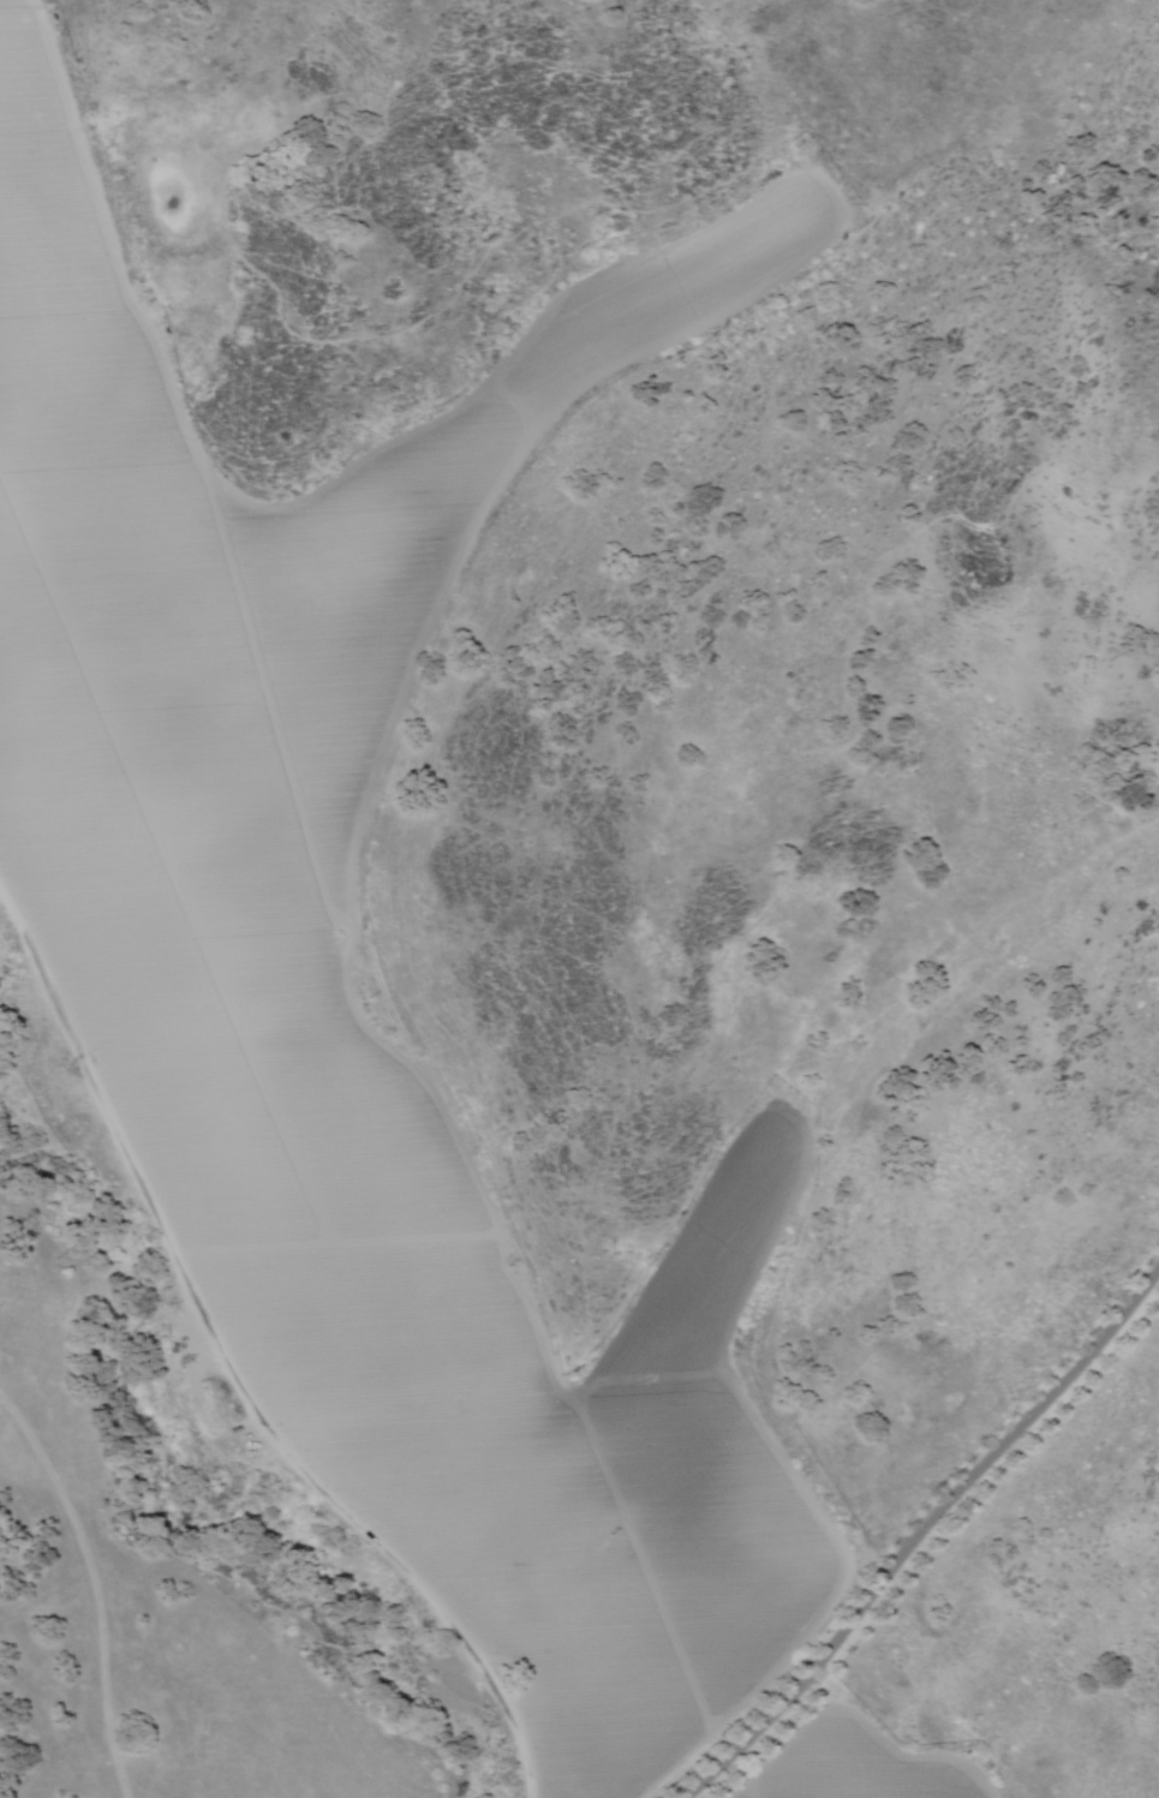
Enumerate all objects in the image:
crop: (191, 882)
road: (229, 1366)
road: (900, 1639)
road: (119, 1780)

